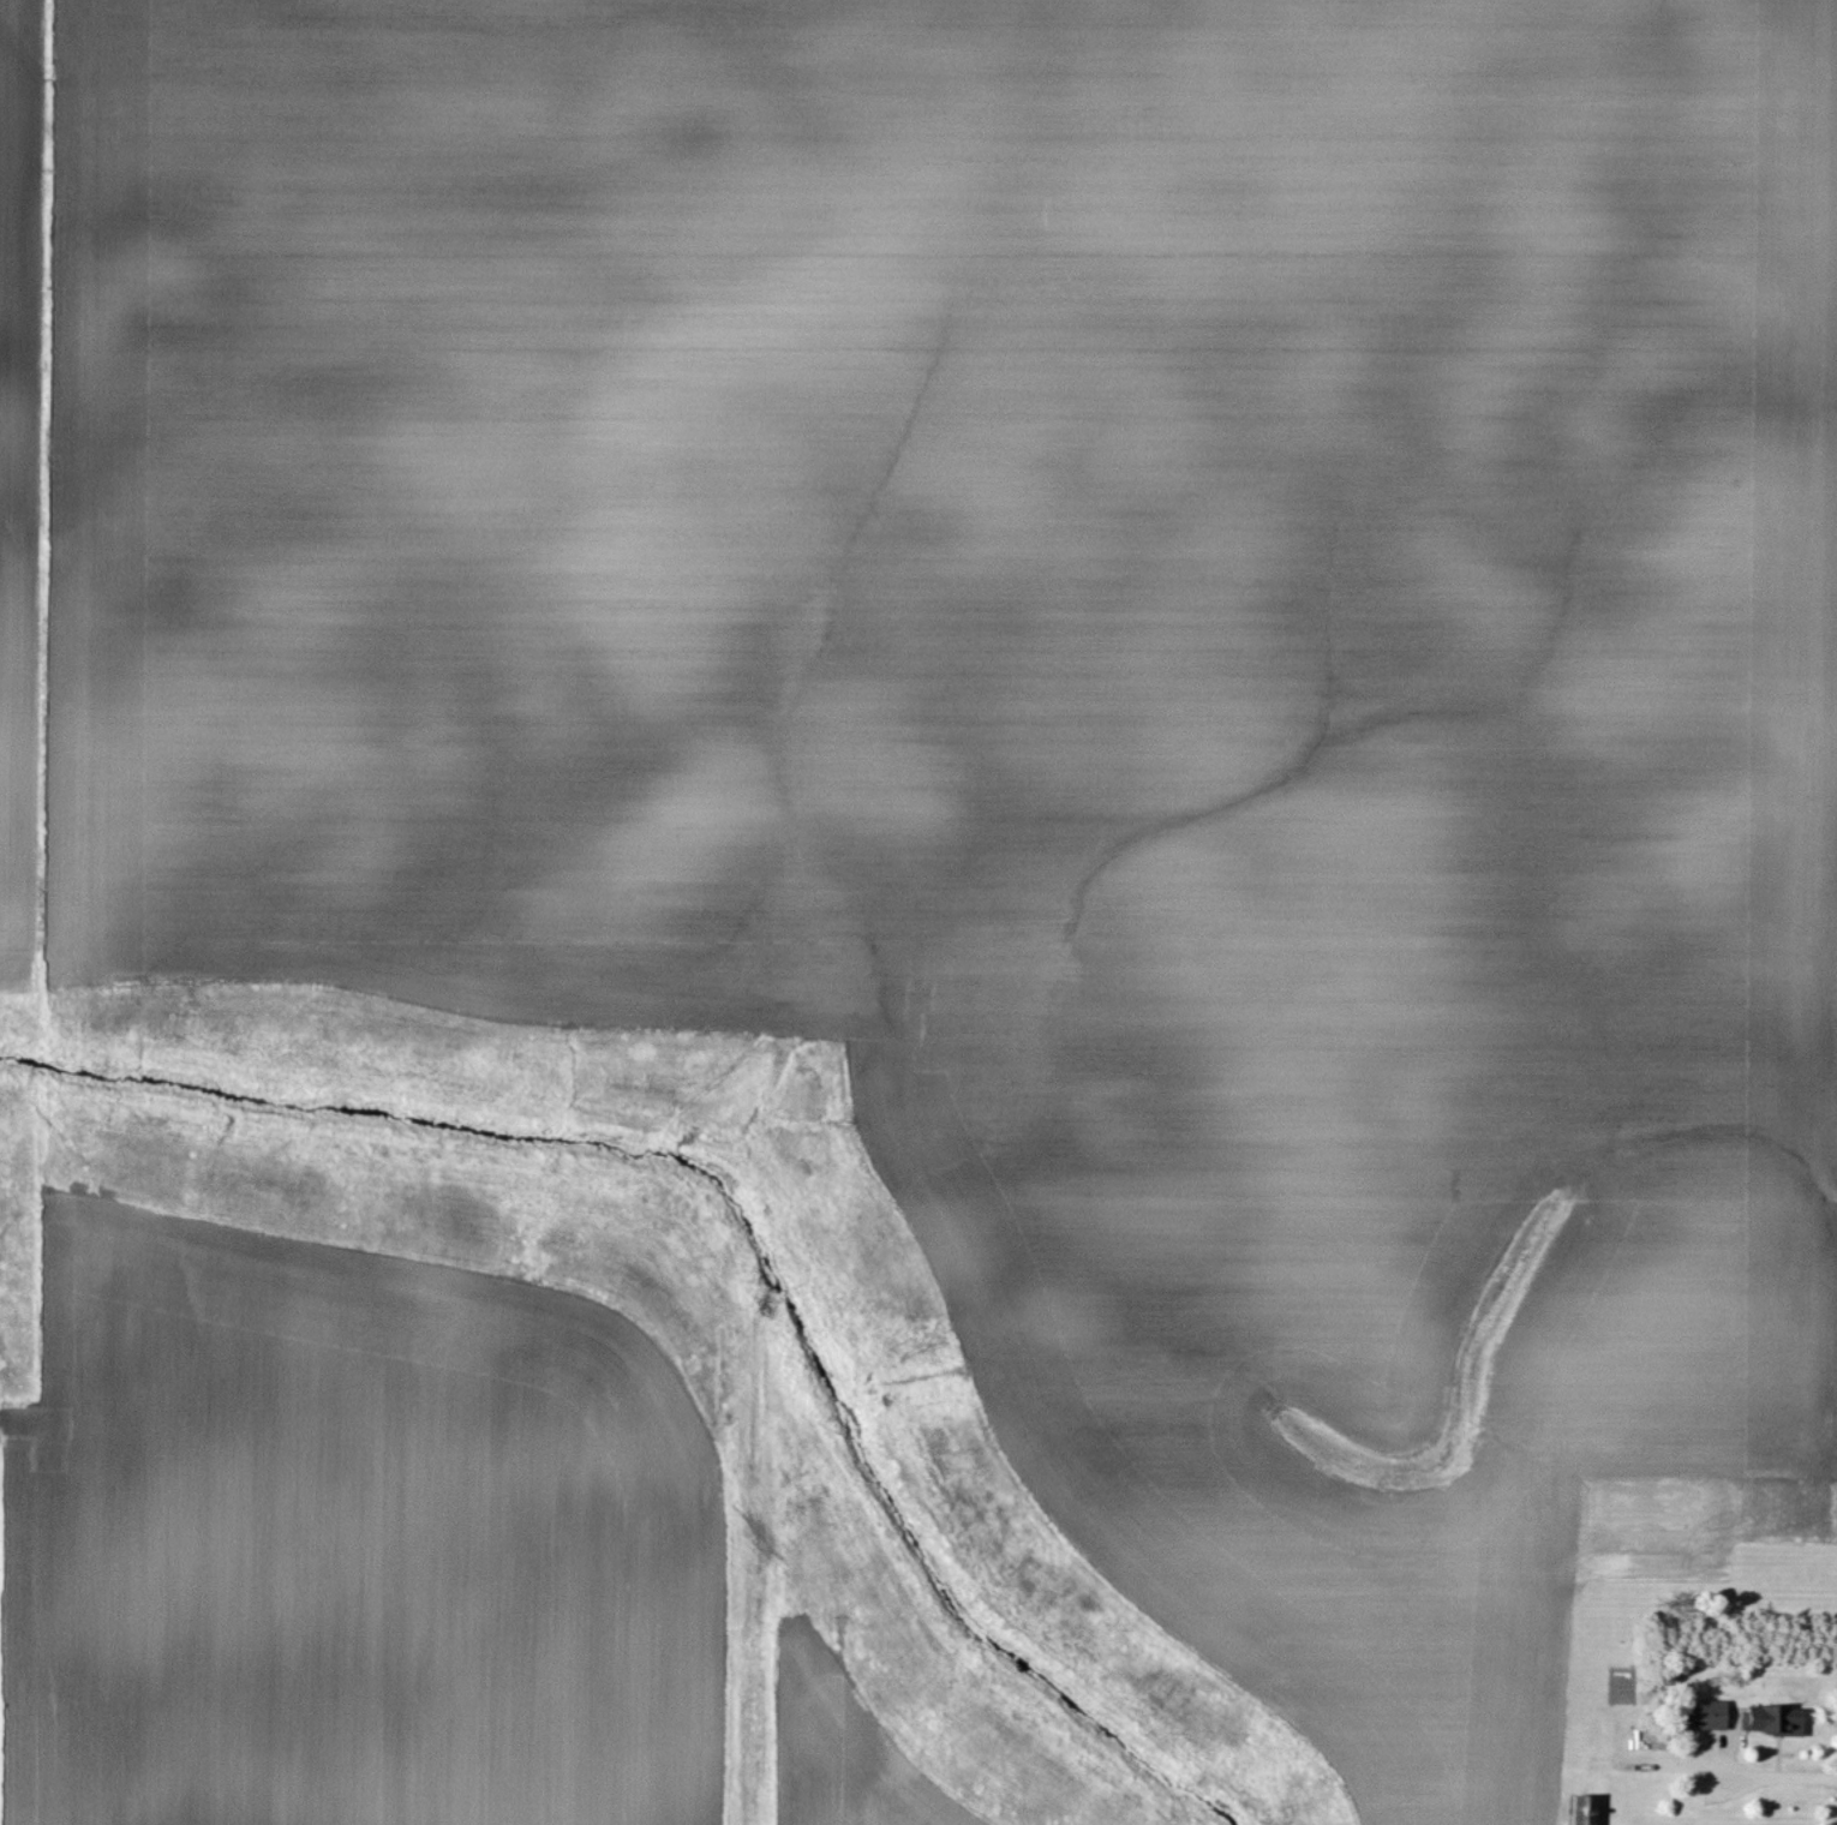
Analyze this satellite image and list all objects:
building: (1707, 1716)
road: (1730, 1754)

